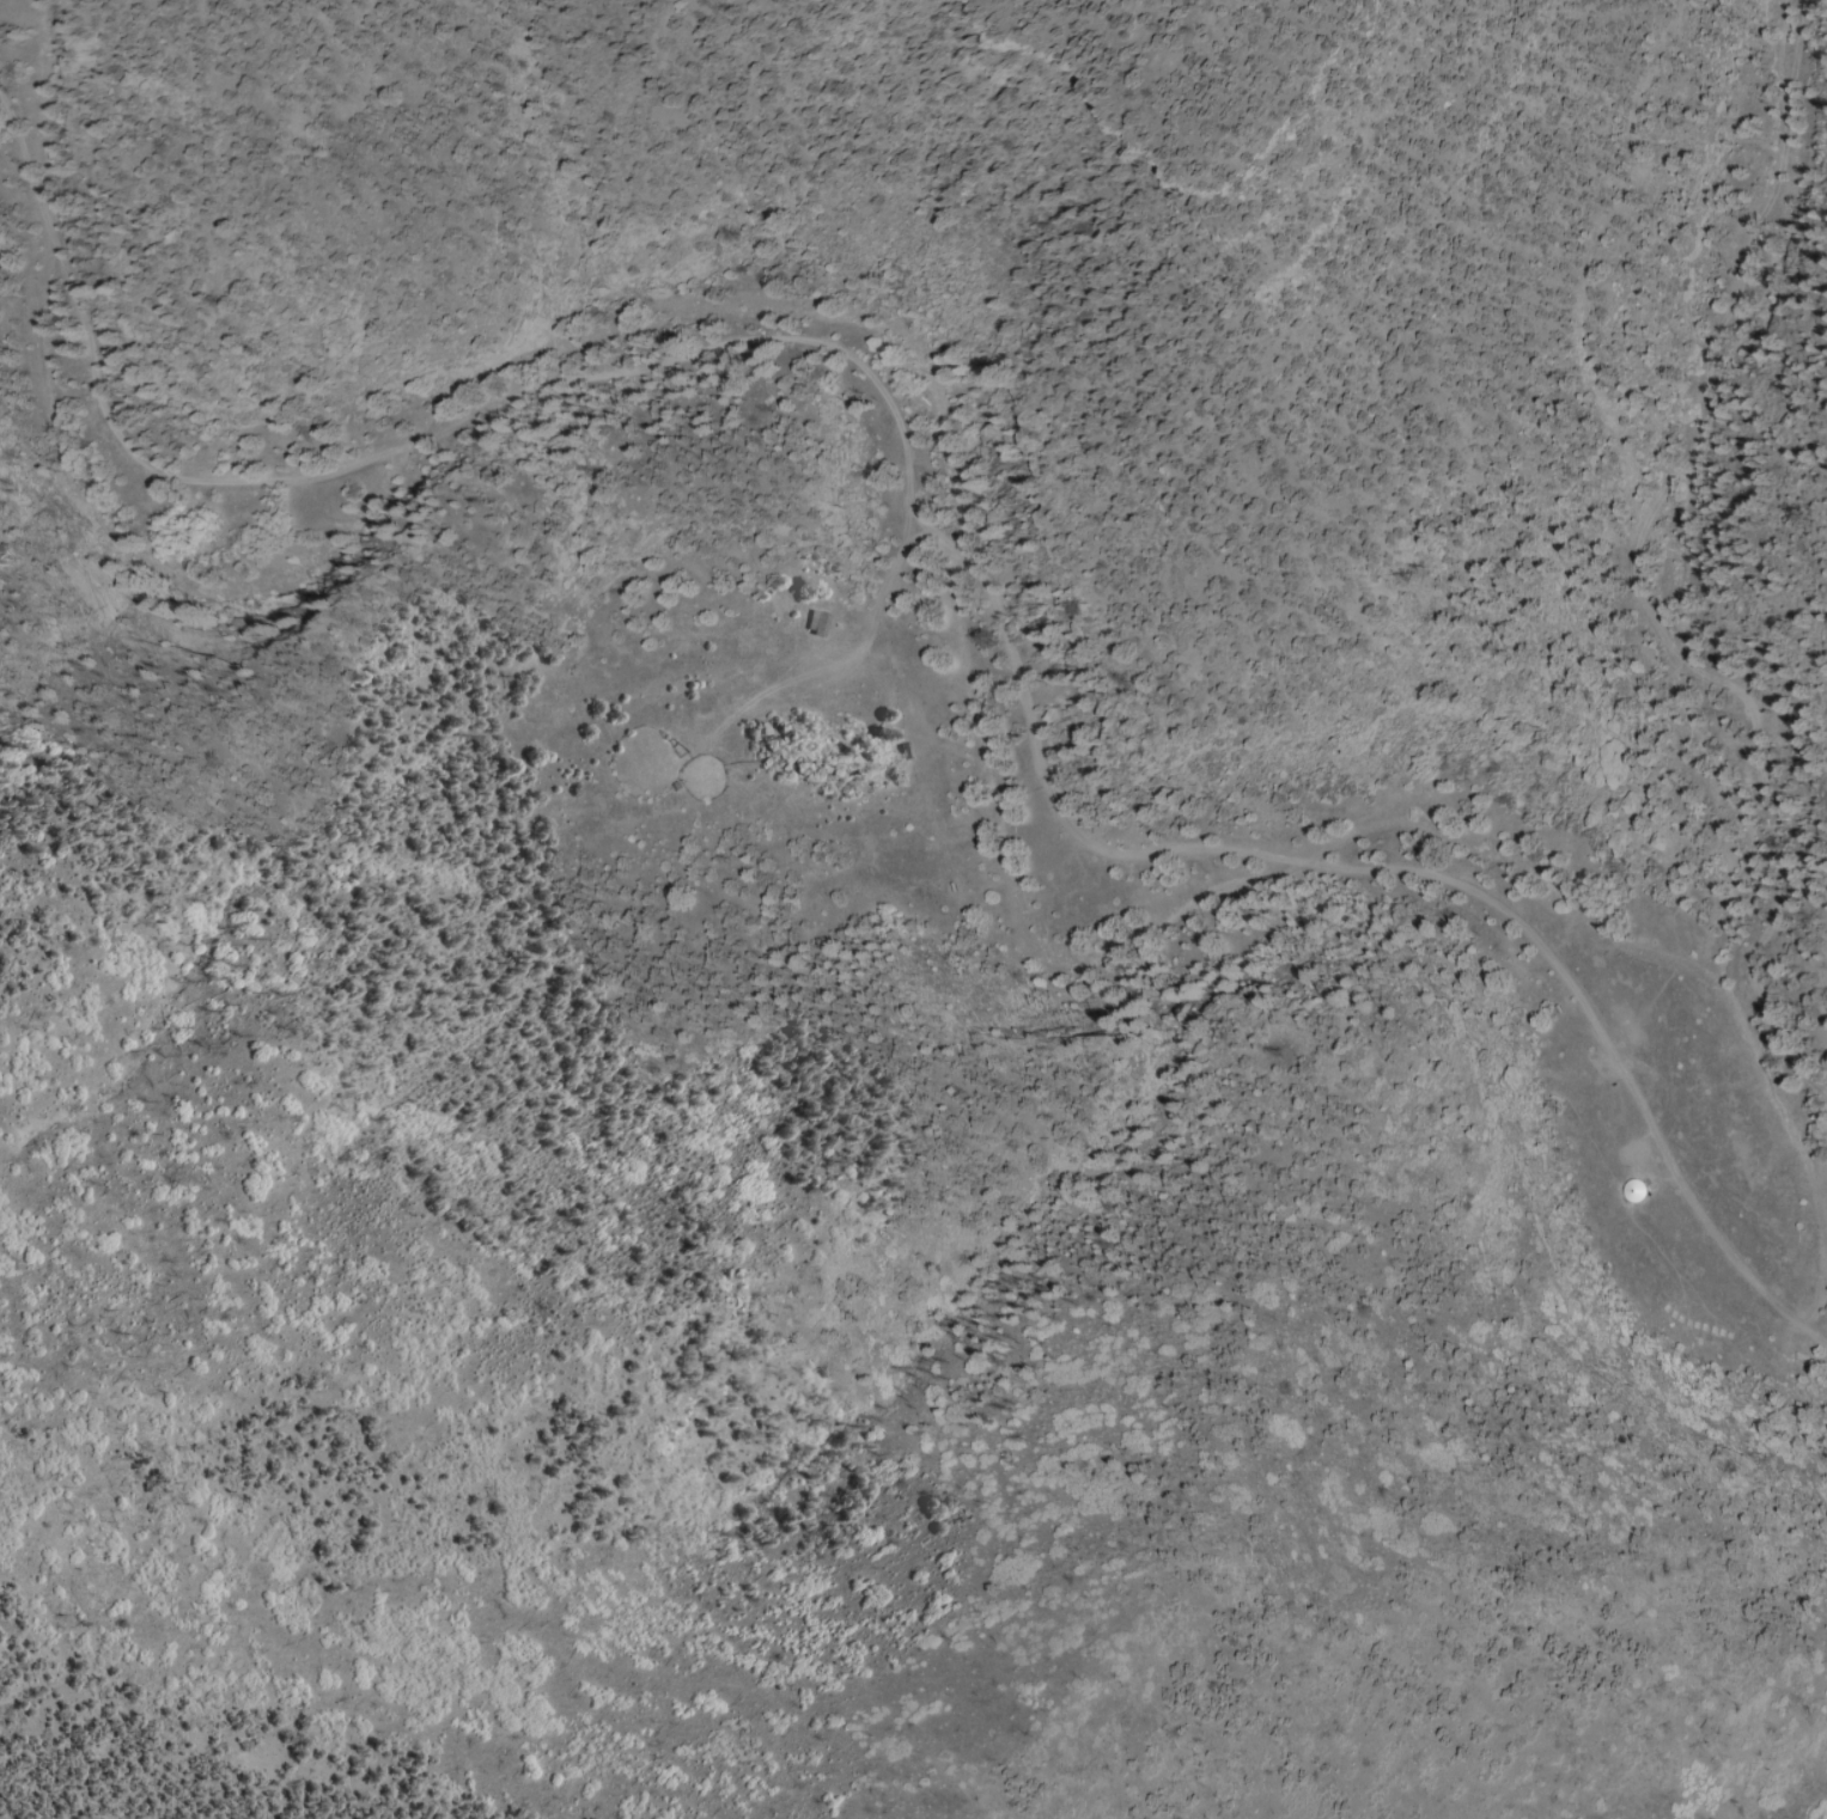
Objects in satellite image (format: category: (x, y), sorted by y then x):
road: (464, 419)
road: (1625, 570)
building: (818, 623)
building: (908, 751)
road: (1458, 881)
building: (954, 886)
building: (1560, 1008)

